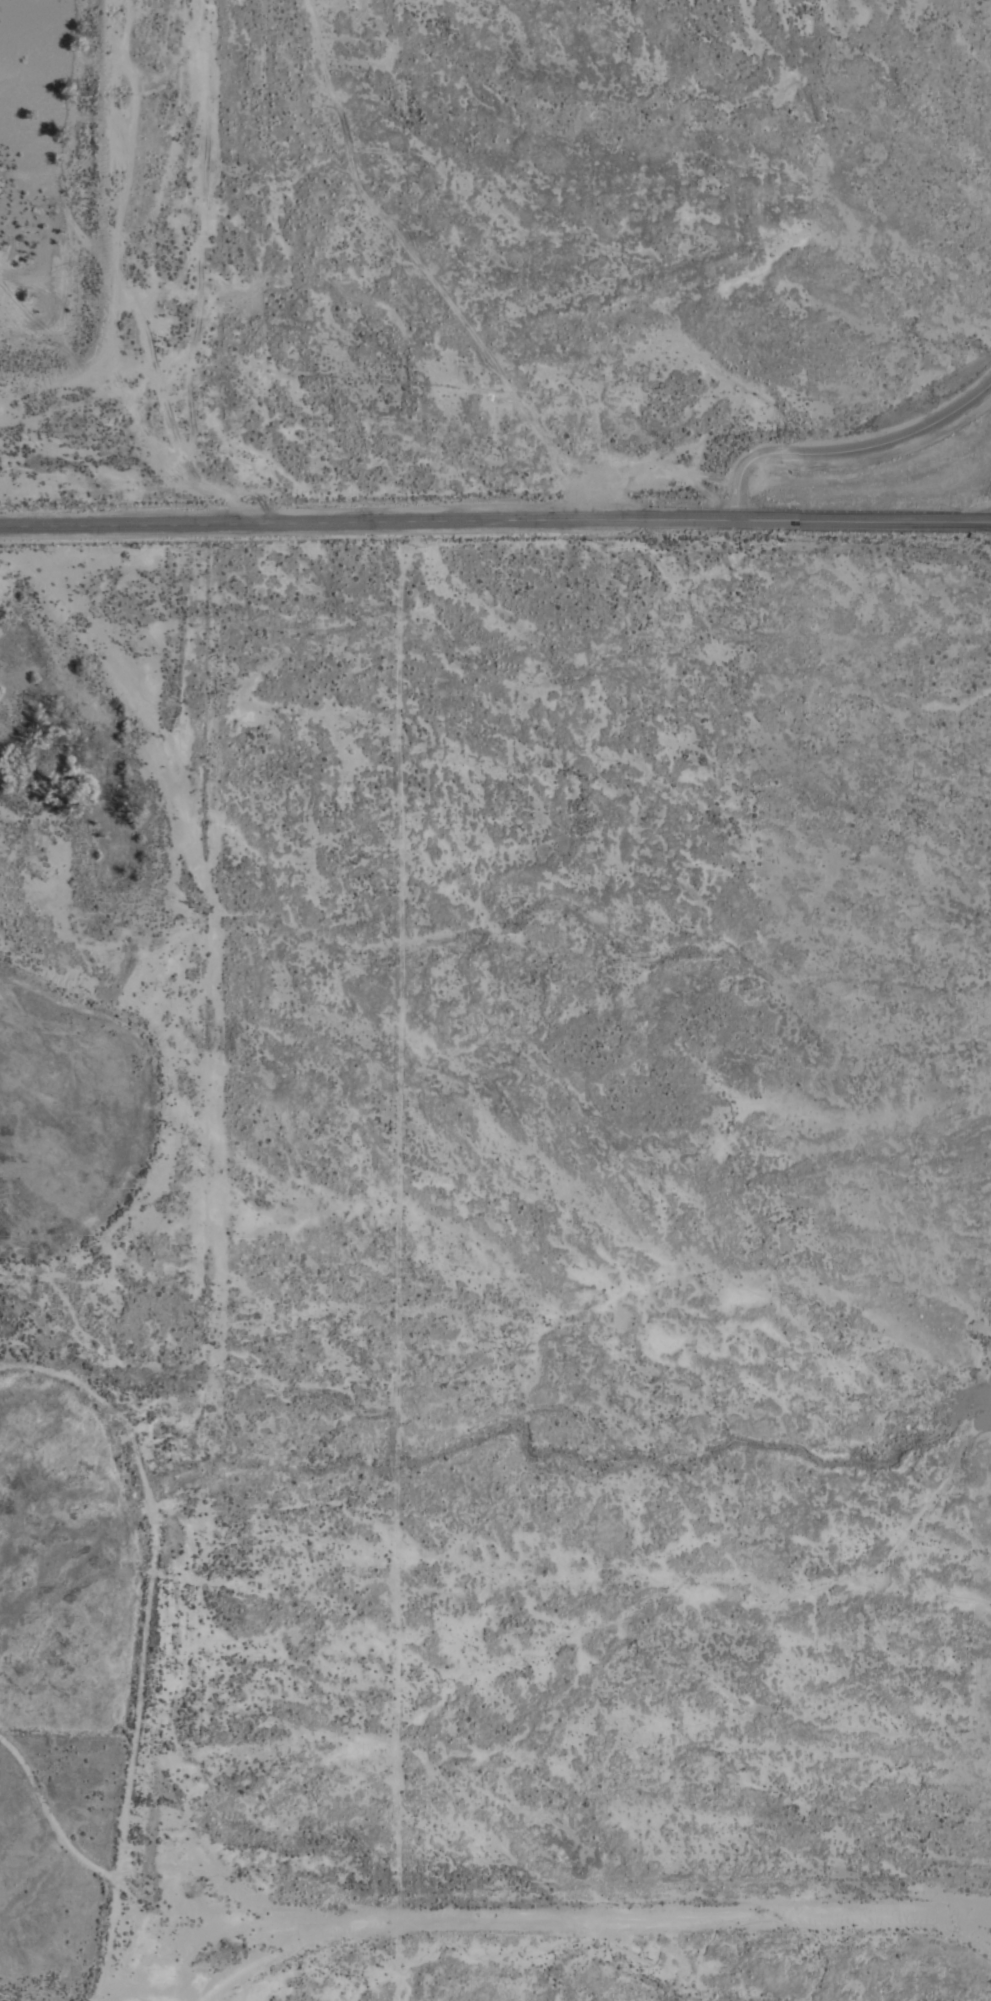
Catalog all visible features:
road: (847, 451)
road: (495, 523)

